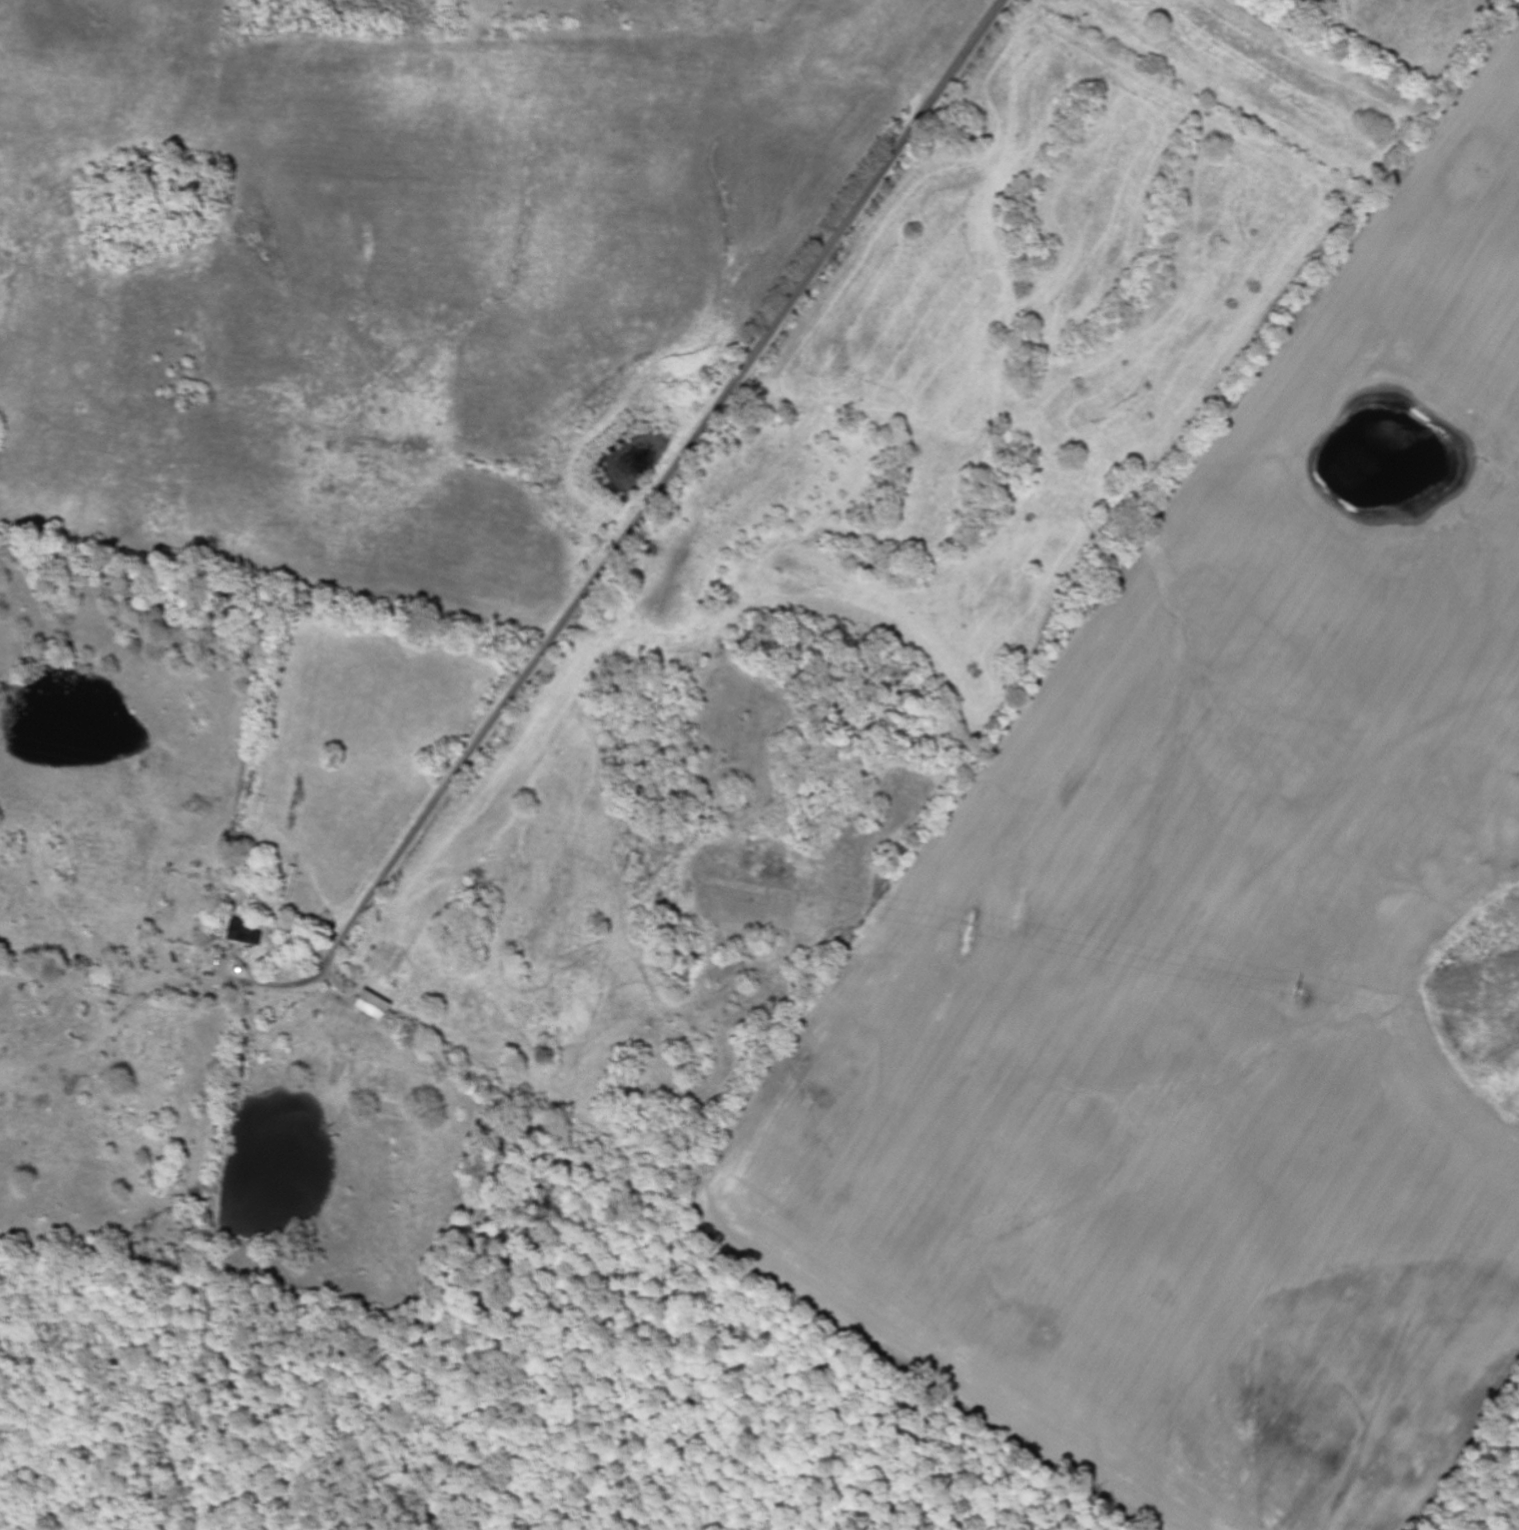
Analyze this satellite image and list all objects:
road: (636, 523)
power tower: (299, 805)
power tower: (628, 867)
power tower: (966, 937)
power tower: (1298, 994)
building: (377, 1006)

